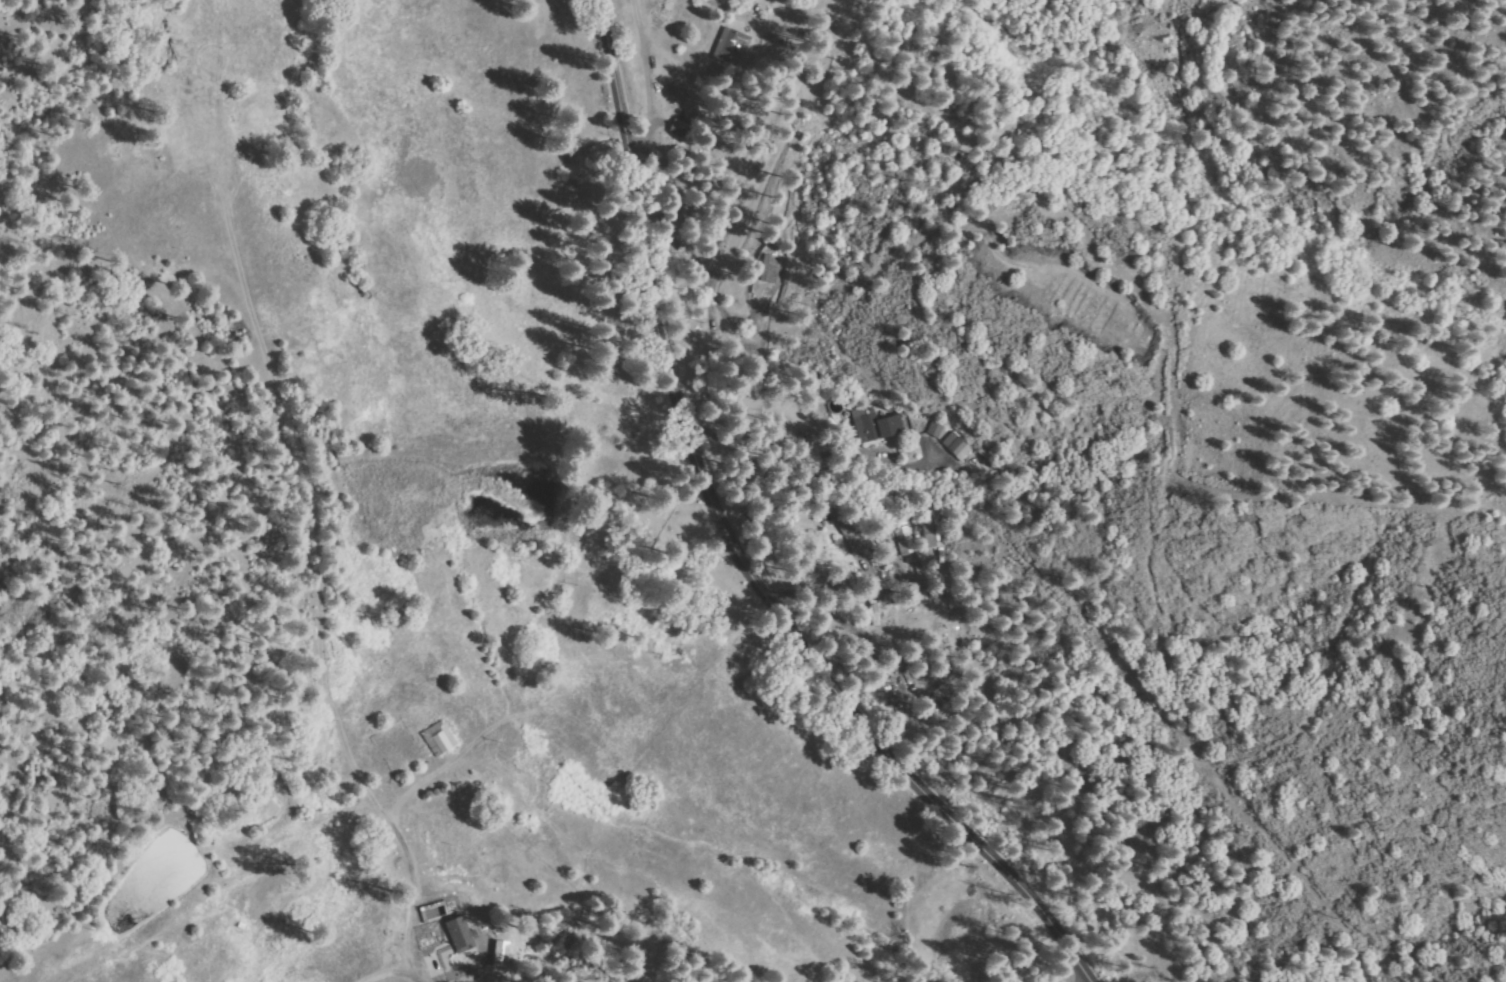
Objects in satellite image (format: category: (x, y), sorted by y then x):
building: (731, 49)
building: (815, 88)
building: (674, 125)
building: (773, 135)
building: (770, 269)
building: (875, 423)
building: (936, 428)
building: (958, 446)
building: (980, 458)
building: (929, 533)
building: (851, 535)
road: (750, 539)
building: (907, 540)
building: (918, 564)
building: (875, 610)
building: (439, 737)
building: (242, 925)
building: (461, 934)
building: (499, 954)
building: (476, 957)

